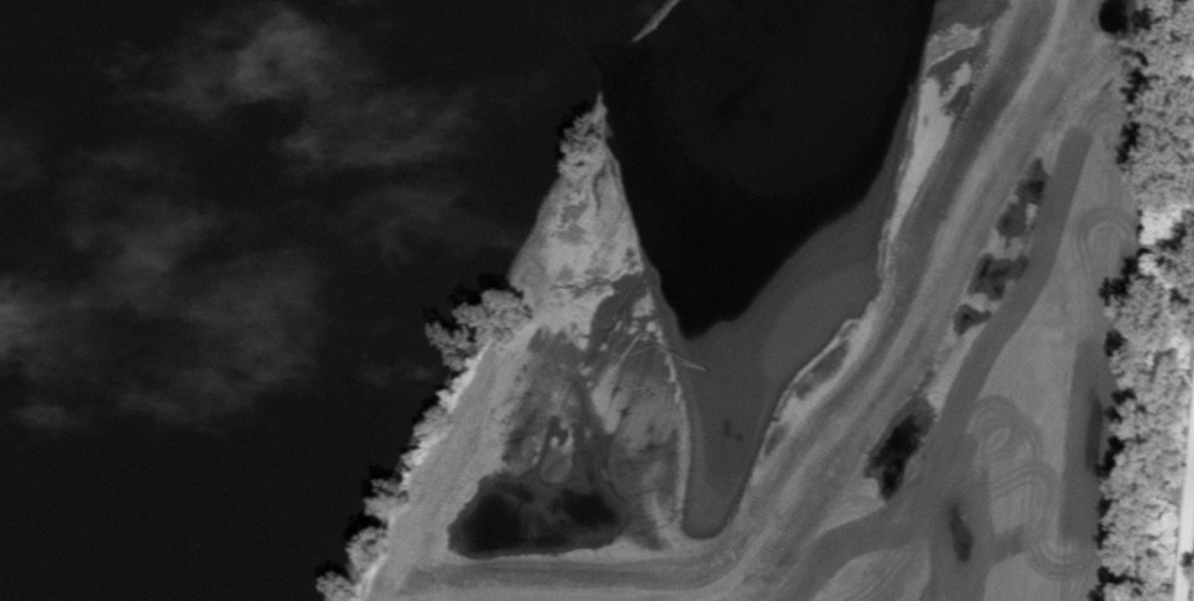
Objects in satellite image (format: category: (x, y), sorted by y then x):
road: (544, 296)
road: (1188, 541)

